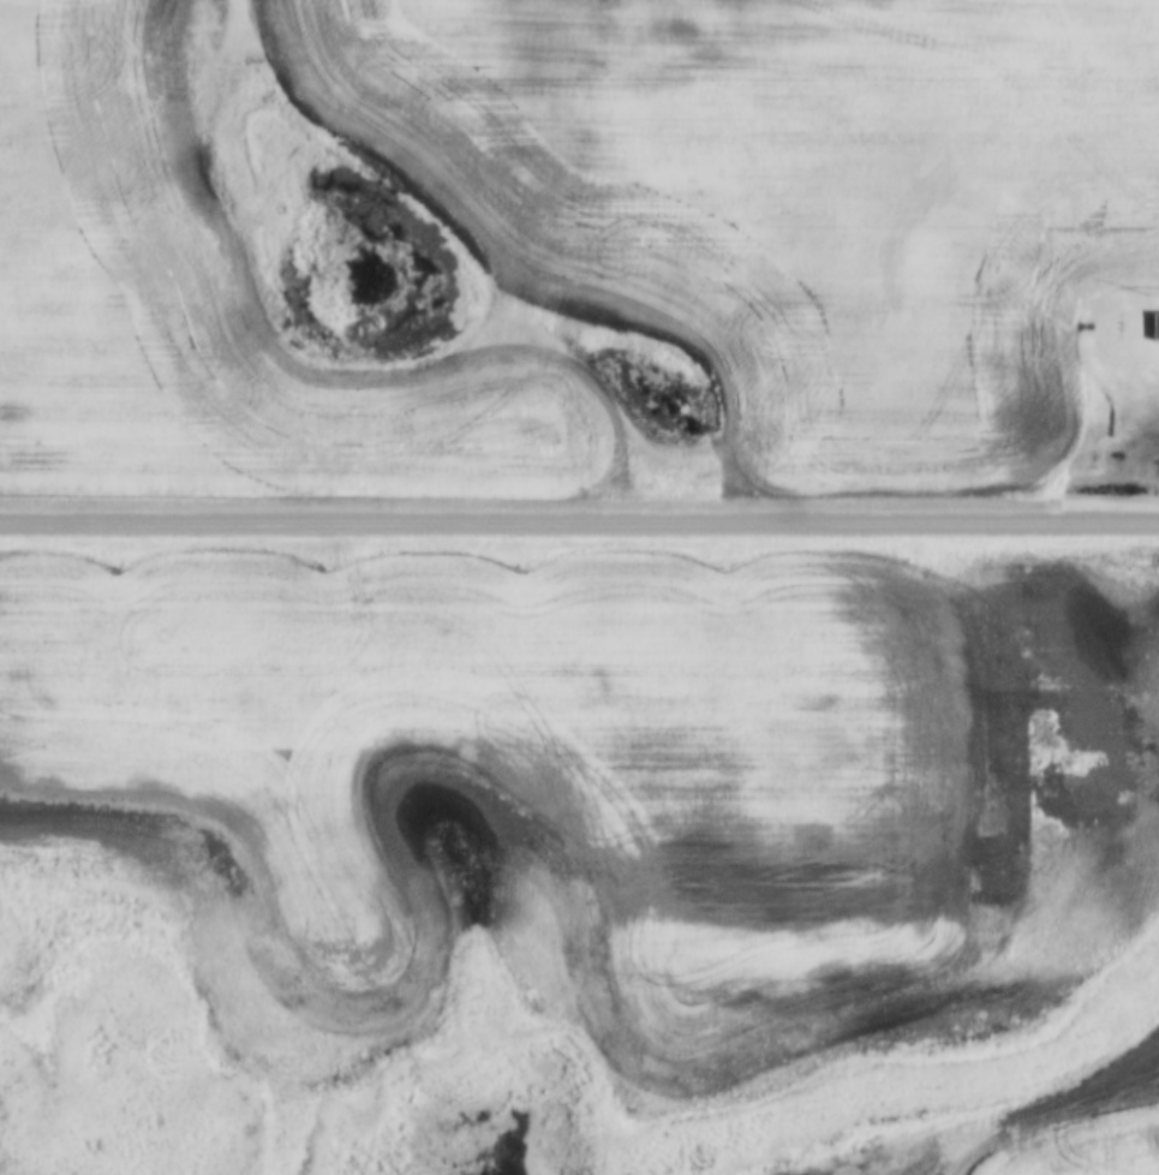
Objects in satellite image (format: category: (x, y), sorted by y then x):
building: (1155, 326)
road: (579, 526)

